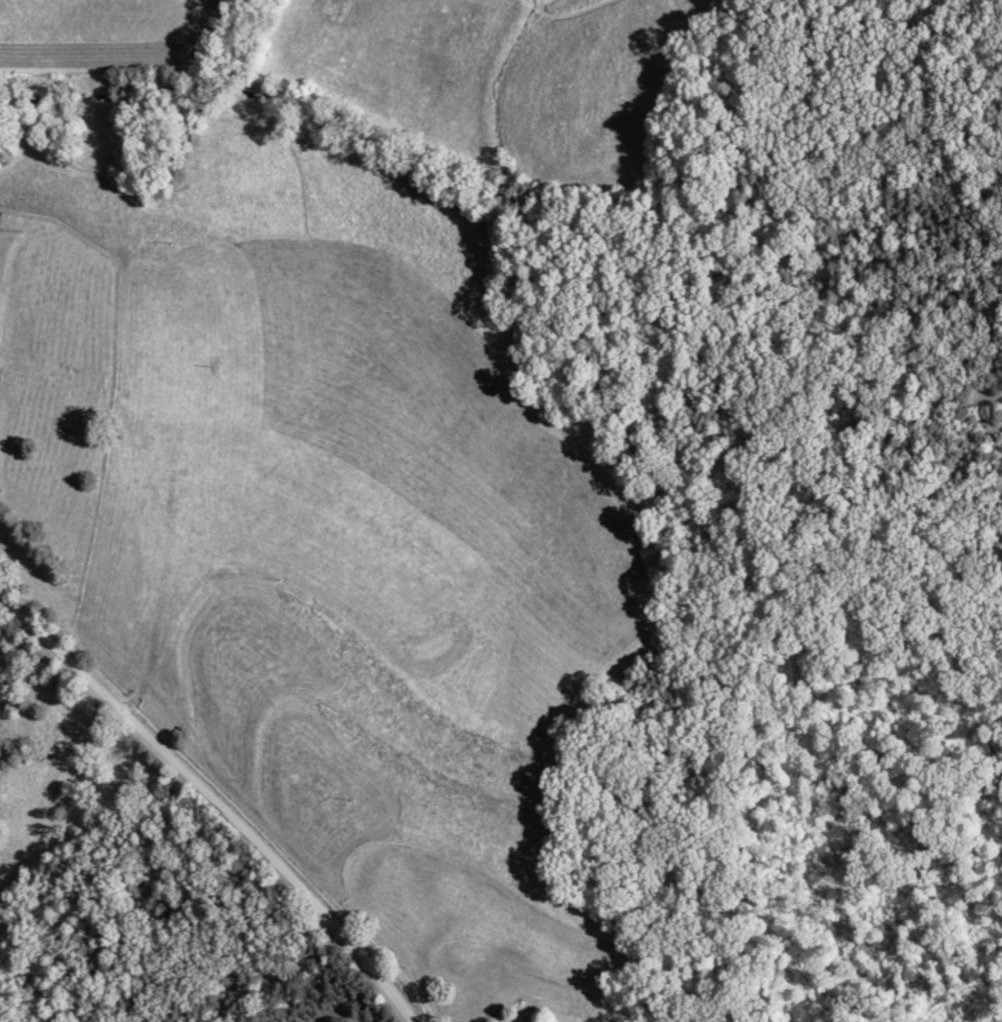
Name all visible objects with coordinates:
road: (215, 801)

